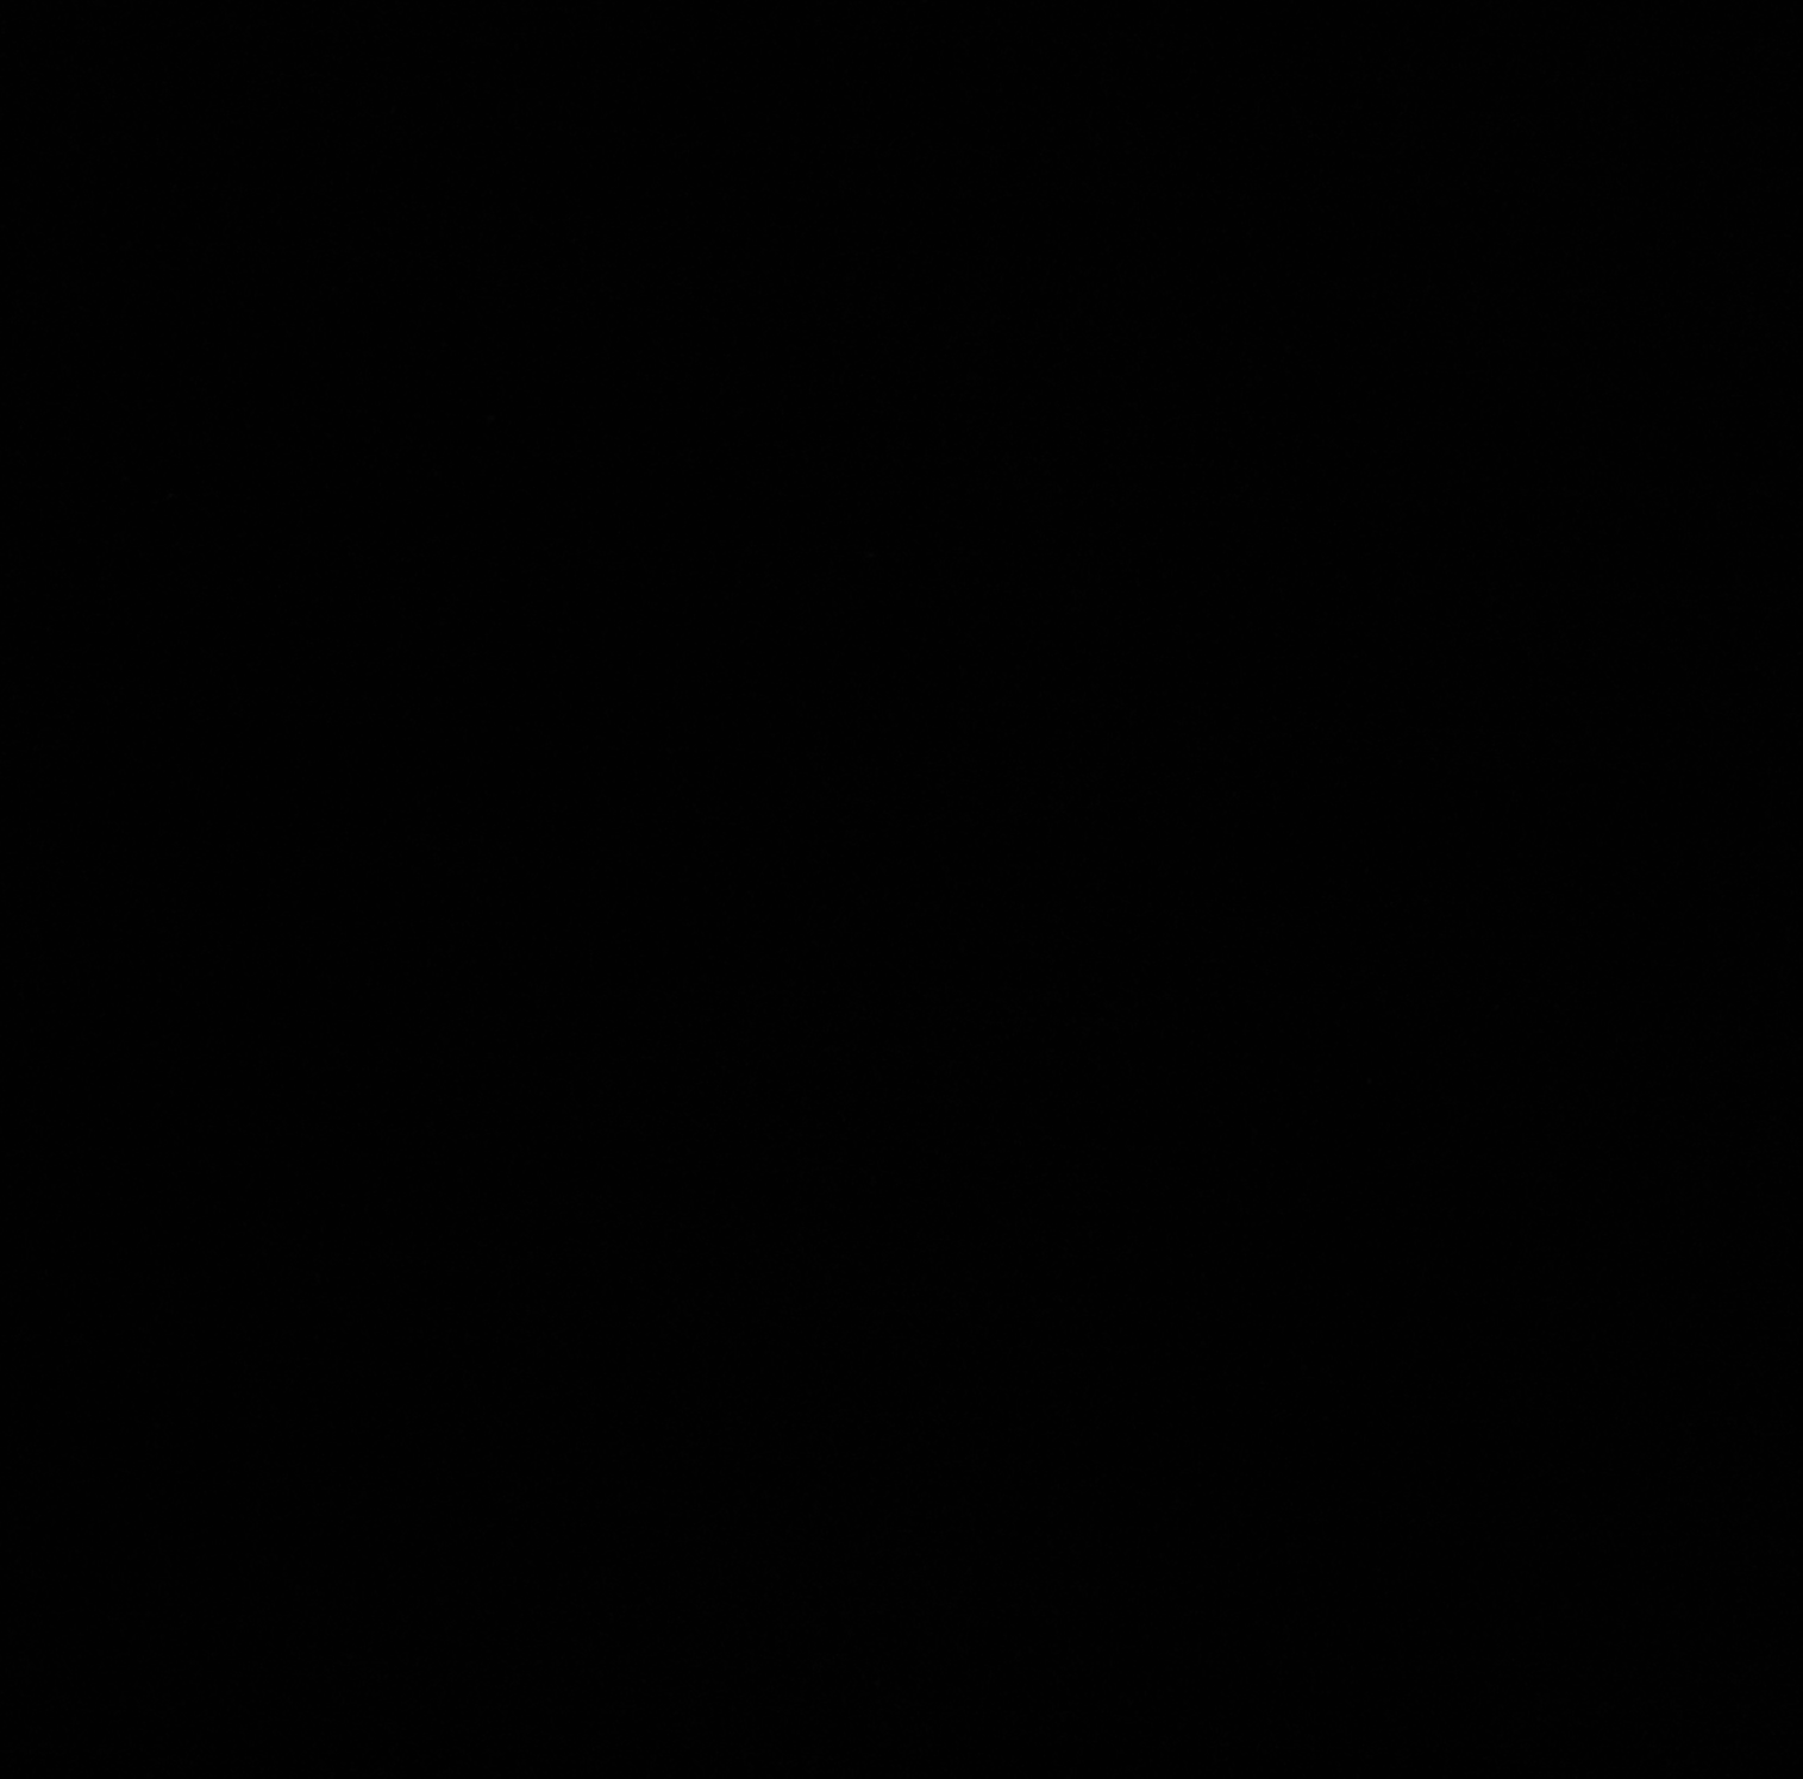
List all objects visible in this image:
river: (1630, 889)

